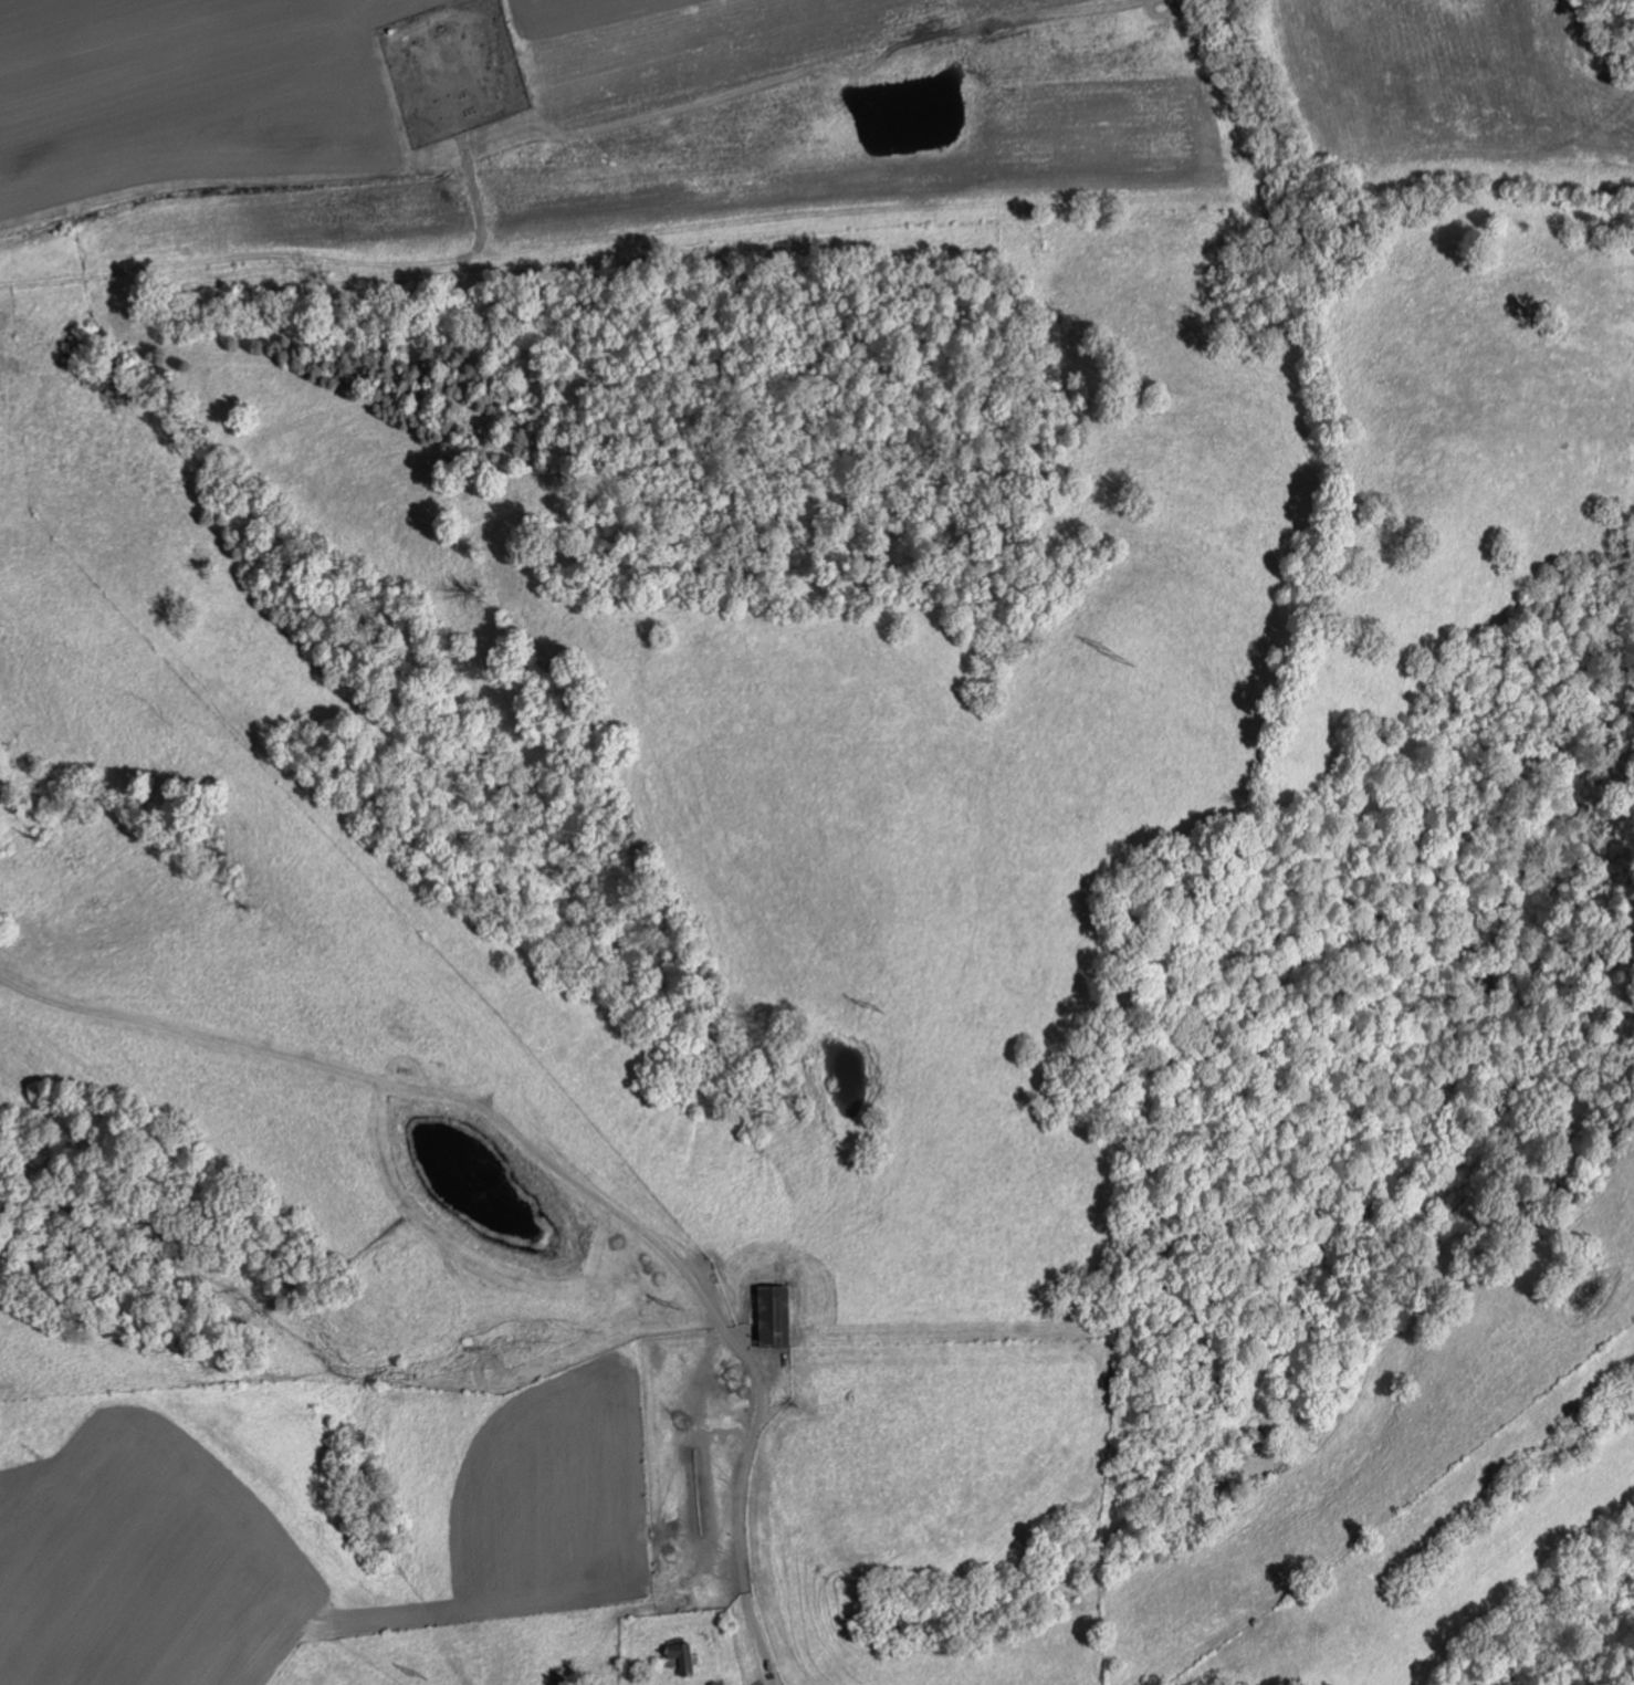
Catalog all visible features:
power tower: (1108, 656)
power tower: (870, 1011)
power tower: (671, 1304)
building: (771, 1317)
road: (740, 1490)
building: (677, 1660)
power tower: (421, 1675)

